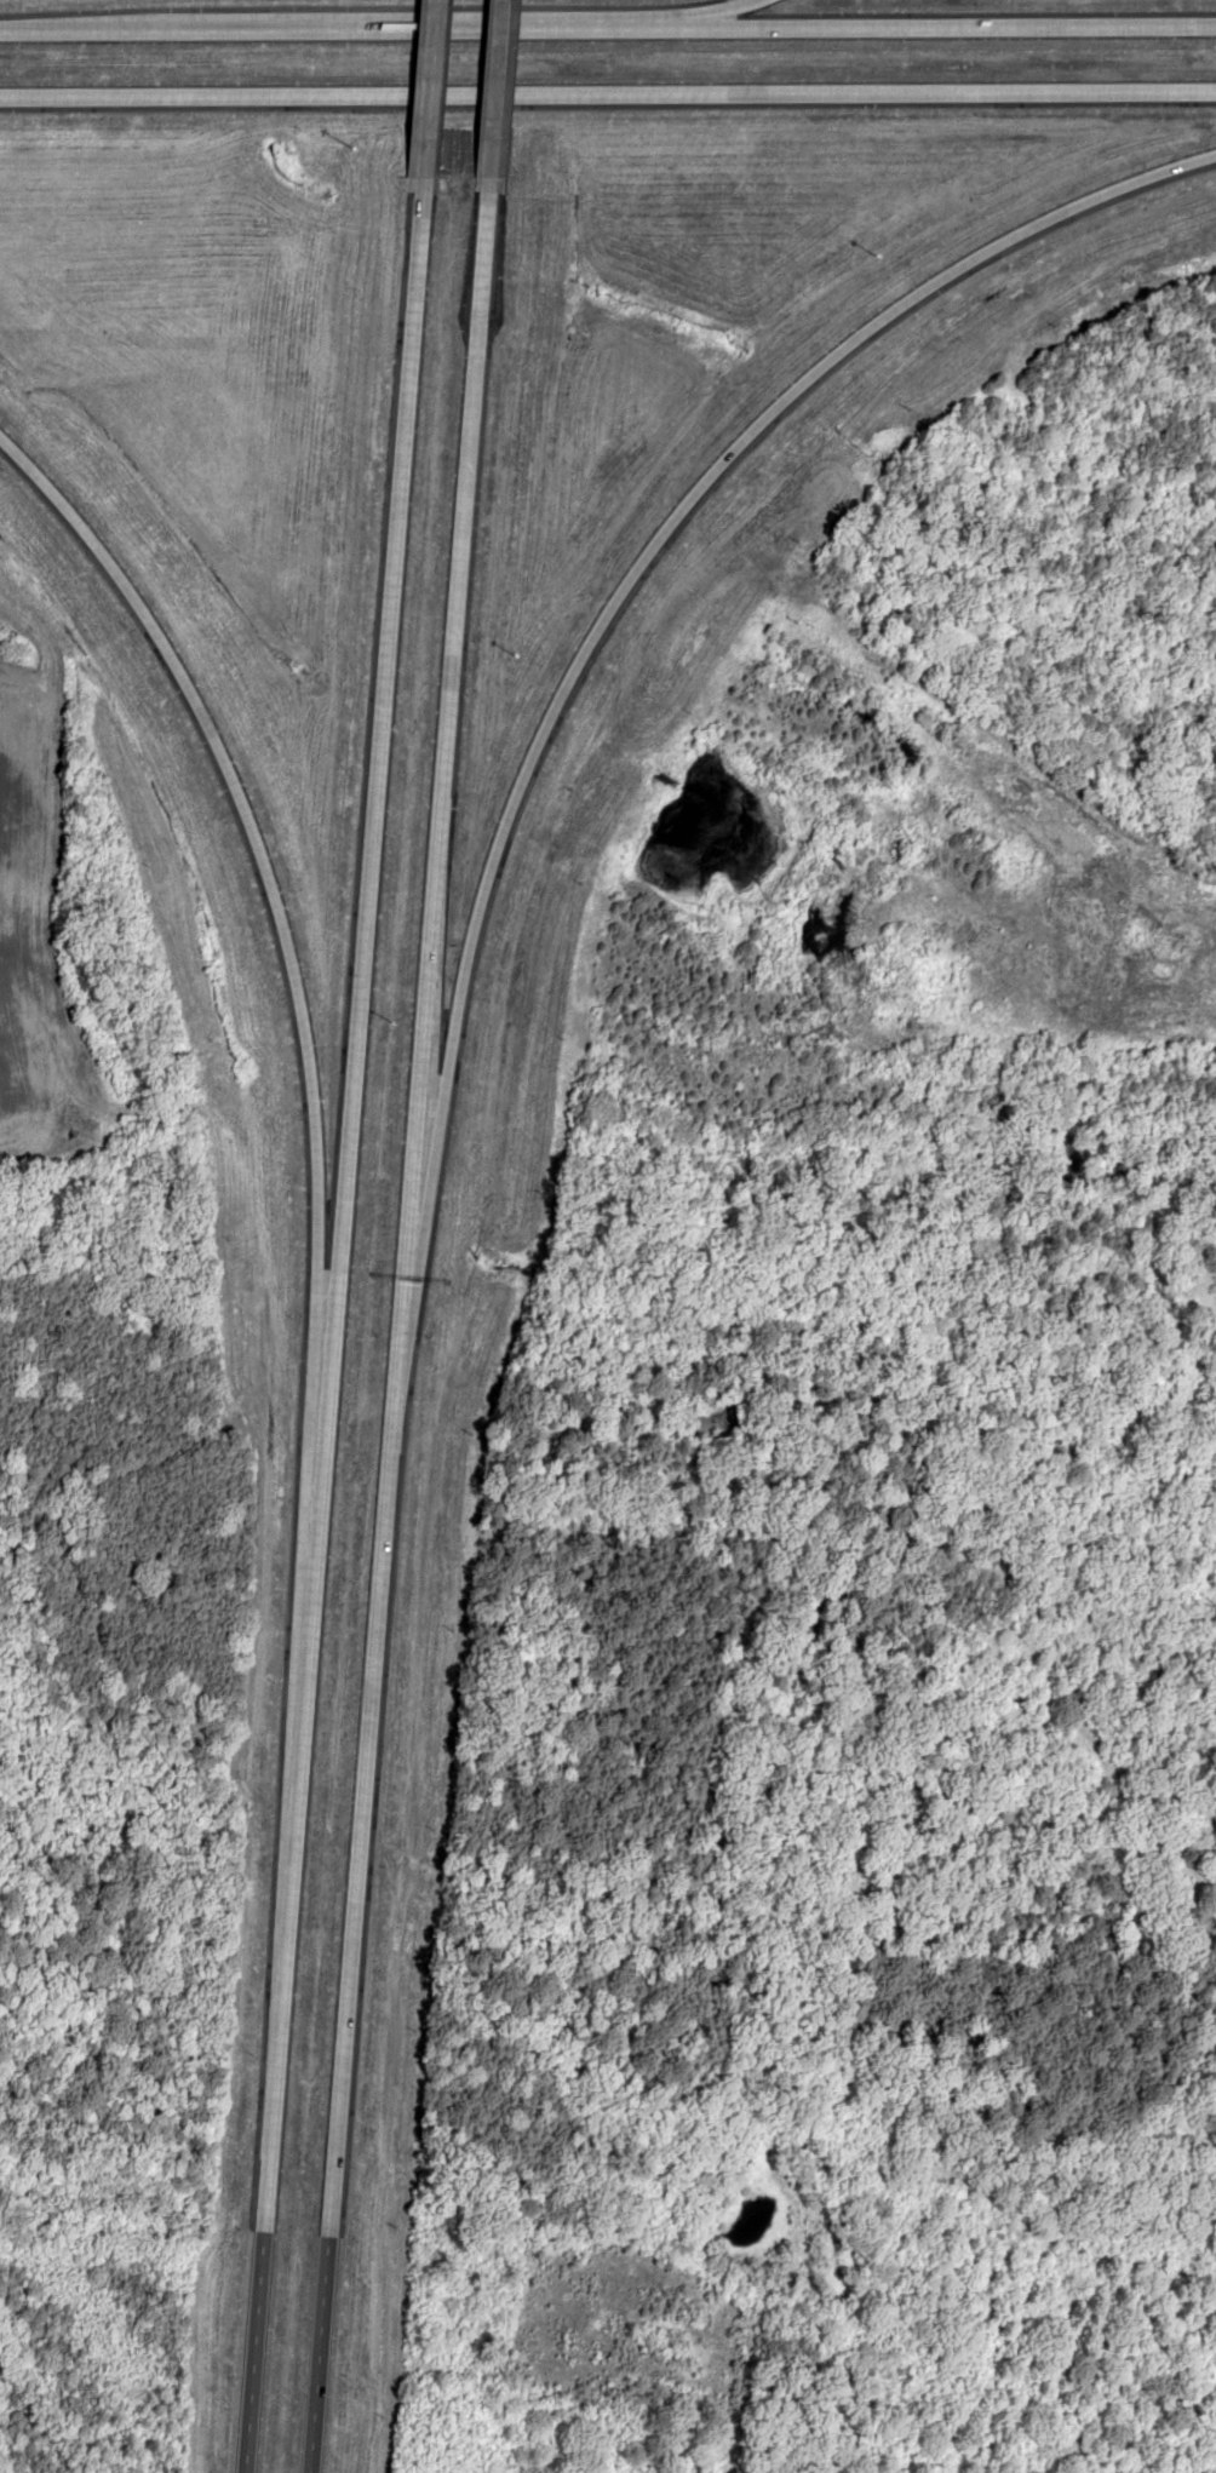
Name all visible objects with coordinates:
road: (696, 15)
road: (607, 28)
road: (415, 93)
road: (608, 94)
road: (489, 96)
road: (655, 544)
road: (447, 690)
road: (360, 842)
road: (1199, 879)
building: (1151, 903)
road: (276, 937)
road: (361, 1830)
road: (271, 1985)

